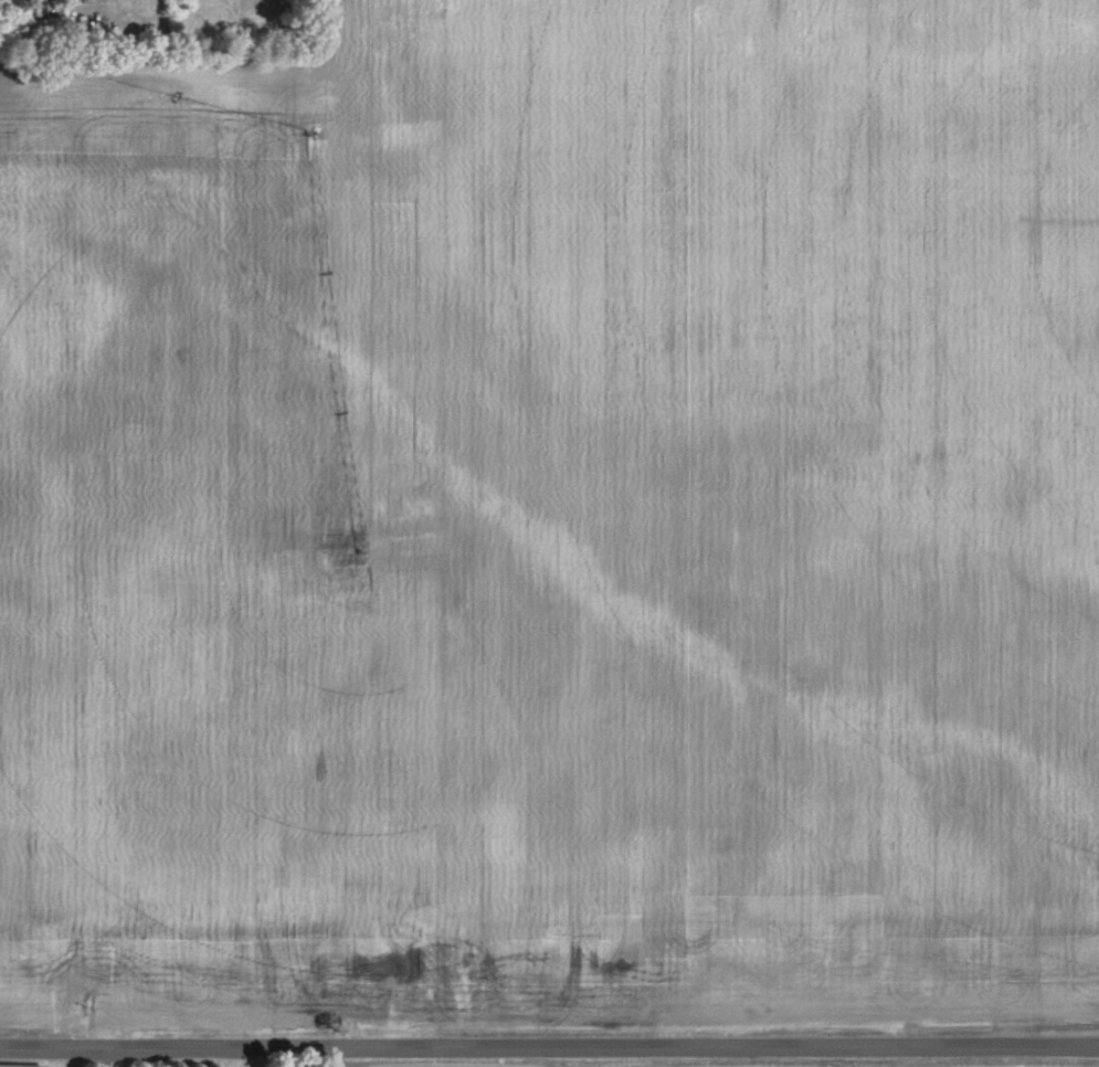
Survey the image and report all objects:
road: (549, 1048)
building: (19, 1065)

